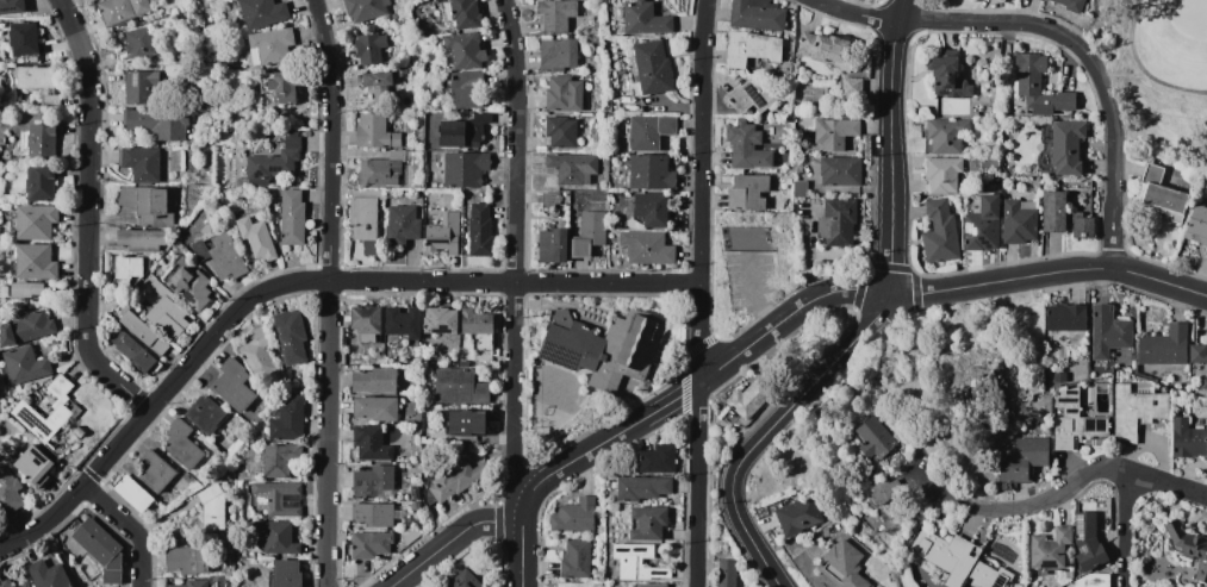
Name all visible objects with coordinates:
building: (1002, 0)
building: (1041, 0)
building: (1071, 5)
building: (11, 6)
building: (431, 7)
building: (365, 10)
road: (900, 10)
building: (120, 11)
building: (262, 12)
building: (186, 13)
building: (460, 13)
road: (854, 13)
building: (554, 14)
building: (757, 14)
building: (645, 18)
road: (994, 21)
building: (621, 29)
building: (24, 38)
building: (433, 42)
building: (136, 44)
building: (269, 45)
building: (369, 46)
building: (749, 49)
building: (827, 49)
building: (465, 50)
building: (971, 50)
building: (559, 54)
building: (211, 57)
building: (413, 57)
building: (428, 67)
building: (652, 67)
building: (783, 68)
building: (400, 73)
park: (1157, 73)
building: (947, 75)
building: (37, 76)
building: (991, 82)
building: (375, 83)
building: (1039, 86)
building: (141, 87)
building: (280, 87)
building: (851, 87)
building: (466, 88)
building: (564, 93)
building: (751, 95)
building: (405, 100)
building: (629, 102)
building: (973, 114)
building: (156, 123)
building: (463, 130)
building: (375, 131)
building: (560, 131)
building: (651, 132)
building: (834, 132)
building: (945, 135)
building: (805, 137)
building: (43, 140)
building: (747, 145)
building: (1062, 146)
road: (1113, 156)
building: (273, 158)
building: (141, 162)
building: (572, 167)
building: (465, 168)
building: (840, 170)
building: (379, 171)
building: (651, 171)
building: (941, 174)
building: (42, 183)
building: (800, 188)
building: (747, 192)
building: (1162, 194)
building: (550, 199)
building: (148, 204)
building: (651, 208)
building: (1053, 211)
road: (88, 213)
building: (292, 217)
building: (362, 218)
building: (1019, 220)
building: (36, 221)
building: (836, 221)
building: (981, 223)
building: (402, 224)
building: (1081, 224)
building: (1197, 224)
building: (480, 230)
building: (939, 231)
building: (443, 233)
building: (589, 233)
building: (746, 238)
building: (141, 239)
building: (256, 239)
building: (552, 244)
building: (374, 246)
building: (647, 246)
building: (220, 254)
road: (514, 256)
building: (36, 262)
building: (129, 267)
road: (1127, 270)
road: (294, 281)
road: (968, 285)
building: (192, 287)
building: (29, 291)
road: (326, 292)
road: (699, 293)
road: (759, 295)
building: (167, 312)
building: (1065, 316)
building: (441, 320)
building: (365, 321)
building: (477, 321)
building: (403, 324)
building: (27, 327)
road: (863, 329)
building: (1107, 331)
building: (144, 333)
building: (291, 336)
building: (481, 341)
building: (571, 342)
building: (1164, 345)
building: (627, 349)
building: (135, 352)
building: (257, 352)
building: (1197, 352)
building: (483, 357)
building: (468, 361)
building: (535, 362)
building: (24, 364)
building: (1077, 370)
building: (1059, 376)
building: (374, 380)
building: (1203, 382)
building: (234, 385)
building: (459, 386)
building: (268, 387)
building: (749, 396)
road: (666, 402)
building: (375, 407)
building: (1136, 407)
building: (24, 411)
building: (205, 414)
building: (288, 419)
building: (1075, 420)
building: (465, 421)
building: (266, 433)
building: (873, 437)
building: (1187, 438)
building: (462, 442)
building: (182, 443)
building: (371, 443)
building: (1032, 450)
building: (217, 452)
building: (398, 457)
building: (657, 458)
building: (285, 461)
building: (35, 467)
building: (1014, 469)
building: (155, 472)
building: (456, 476)
building: (374, 480)
building: (641, 487)
road: (1064, 488)
building: (885, 491)
building: (10, 492)
building: (413, 492)
building: (133, 493)
building: (278, 498)
building: (216, 506)
building: (397, 508)
building: (373, 514)
building: (574, 514)
building: (798, 516)
building: (647, 522)
building: (411, 523)
building: (1085, 524)
road: (129, 527)
road: (1124, 527)
building: (825, 532)
building: (1063, 533)
building: (834, 536)
building: (279, 537)
road: (452, 538)
building: (371, 544)
building: (1189, 547)
building: (101, 549)
building: (1089, 551)
building: (1045, 554)
building: (946, 555)
building: (188, 560)
building: (574, 560)
building: (238, 561)
building: (637, 563)
building: (842, 566)
building: (726, 573)
building: (49, 574)
building: (287, 574)
building: (1064, 574)
building: (987, 575)
building: (463, 579)
building: (1093, 580)
building: (6, 582)
building: (24, 585)
building: (574, 585)
building: (651, 585)
building: (1018, 585)
building: (179, 586)

